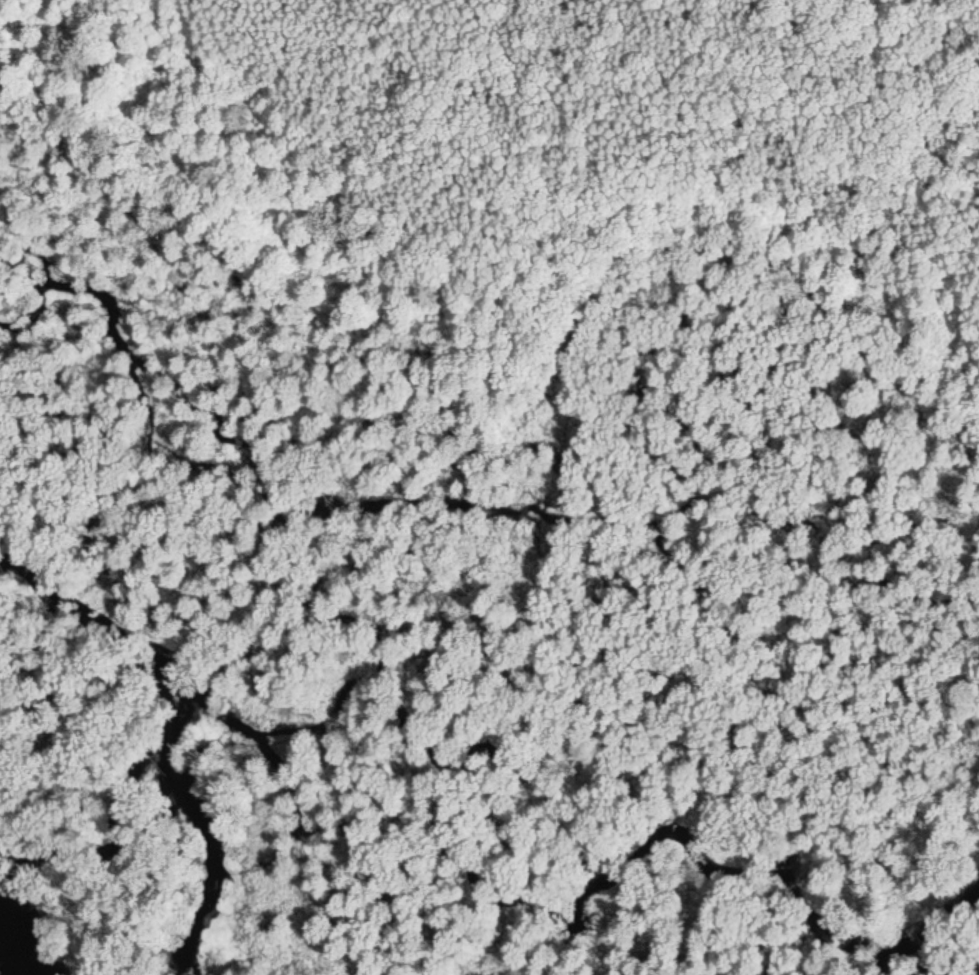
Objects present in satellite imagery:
river: (12, 954)

